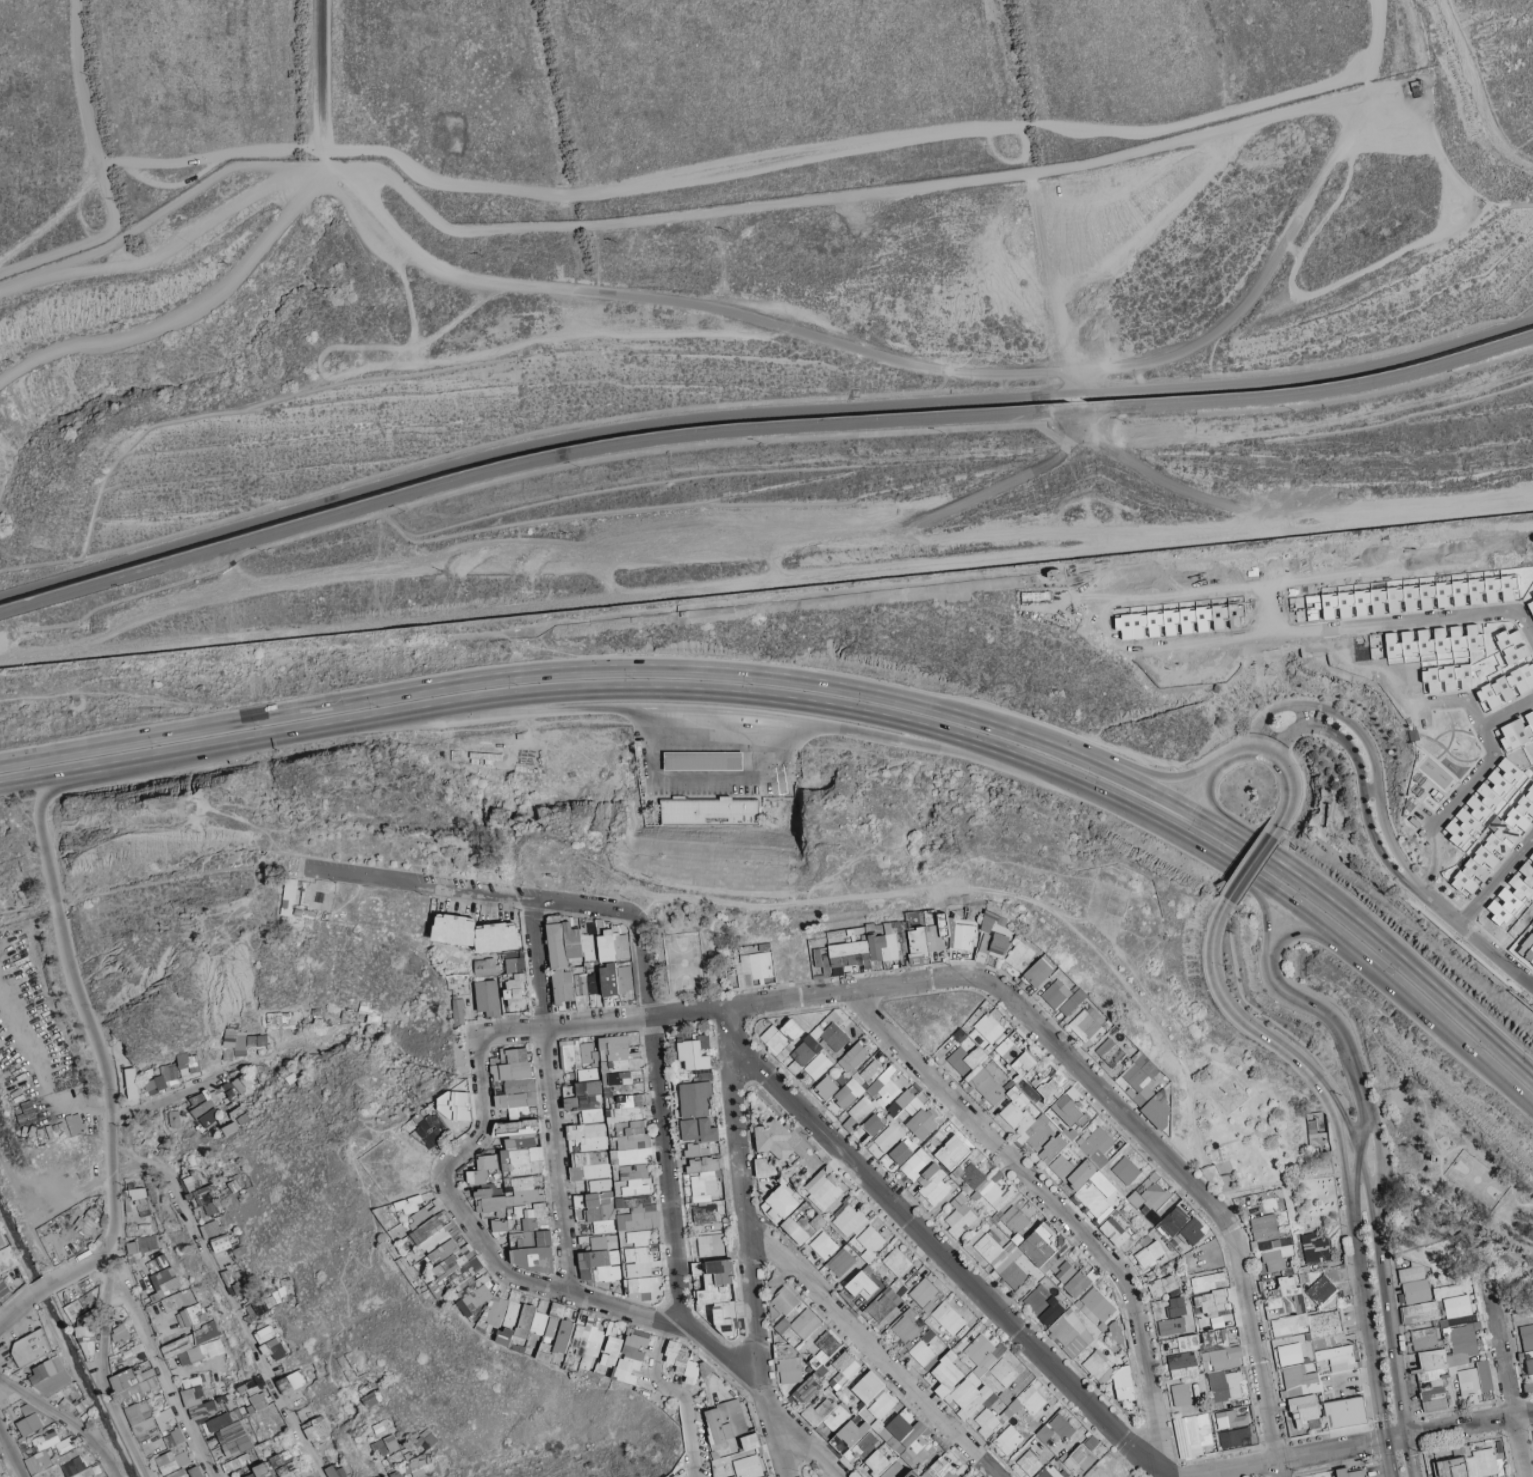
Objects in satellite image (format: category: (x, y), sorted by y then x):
road: (324, 74)
road: (1476, 90)
road: (877, 142)
road: (126, 163)
road: (863, 194)
road: (147, 222)
road: (87, 239)
road: (166, 257)
road: (434, 266)
road: (1052, 274)
road: (1262, 283)
road: (196, 309)
road: (824, 339)
road: (1077, 391)
road: (759, 414)
road: (758, 429)
road: (1161, 480)
road: (994, 489)
road: (766, 583)
building: (995, 584)
building: (1423, 597)
building: (1530, 606)
road: (1445, 611)
building: (1164, 622)
road: (1237, 633)
building: (1435, 642)
building: (1511, 645)
building: (1448, 678)
building: (1506, 687)
road: (819, 688)
road: (708, 699)
building: (1482, 702)
road: (472, 703)
road: (1475, 707)
road: (1271, 710)
road: (1508, 712)
road: (1302, 715)
road: (706, 724)
building: (1517, 732)
road: (285, 734)
building: (702, 759)
gas station: (702, 759)
road: (131, 760)
road: (43, 776)
road: (700, 780)
road: (1050, 781)
road: (54, 786)
road: (1376, 786)
building: (710, 812)
building: (1492, 823)
building: (1532, 855)
road: (47, 862)
building: (1523, 883)
building: (293, 898)
building: (1504, 908)
building: (1518, 914)
building: (455, 929)
building: (498, 937)
building: (993, 937)
building: (899, 940)
building: (579, 943)
building: (556, 945)
building: (613, 946)
building: (1528, 950)
building: (1020, 955)
building: (819, 962)
building: (510, 965)
building: (485, 967)
building: (754, 968)
building: (1039, 973)
building: (616, 979)
building: (587, 984)
building: (563, 986)
building: (516, 991)
building: (488, 998)
building: (1073, 1001)
building: (1081, 1008)
building: (459, 1012)
building: (1087, 1024)
building: (791, 1029)
building: (236, 1041)
building: (256, 1043)
building: (776, 1043)
building: (817, 1049)
building: (1109, 1050)
building: (960, 1052)
building: (227, 1053)
building: (695, 1054)
building: (852, 1057)
building: (615, 1060)
building: (188, 1064)
building: (582, 1064)
building: (516, 1072)
building: (162, 1079)
building: (132, 1083)
building: (858, 1083)
building: (986, 1085)
building: (826, 1088)
building: (1148, 1089)
building: (569, 1090)
building: (228, 1093)
building: (696, 1099)
building: (512, 1102)
building: (894, 1104)
building: (454, 1105)
building: (585, 1107)
building: (203, 1110)
building: (625, 1112)
building: (174, 1119)
building: (236, 1120)
building: (75, 1124)
building: (874, 1124)
park: (1251, 1125)
building: (429, 1130)
building: (699, 1130)
building: (1063, 1134)
building: (593, 1136)
building: (888, 1136)
building: (780, 1140)
building: (632, 1146)
building: (521, 1147)
building: (696, 1150)
building: (952, 1152)
building: (901, 1153)
building: (589, 1165)
building: (763, 1167)
building: (482, 1169)
building: (703, 1178)
building: (926, 1178)
building: (632, 1180)
building: (192, 1183)
building: (987, 1187)
building: (823, 1189)
building: (505, 1198)
building: (1148, 1198)
building: (140, 1201)
building: (205, 1201)
building: (408, 1204)
building: (779, 1204)
building: (638, 1208)
building: (94, 1214)
building: (960, 1215)
building: (705, 1216)
building: (848, 1220)
building: (811, 1223)
building: (530, 1224)
building: (500, 1225)
building: (1181, 1228)
building: (211, 1229)
building: (795, 1230)
building: (1115, 1231)
building: (638, 1237)
building: (1, 1241)
building: (870, 1242)
building: (1269, 1242)
building: (221, 1243)
building: (599, 1243)
building: (443, 1245)
building: (710, 1245)
building: (141, 1246)
building: (821, 1248)
building: (1314, 1248)
building: (240, 1252)
building: (1150, 1254)
building: (532, 1258)
building: (7, 1259)
building: (640, 1262)
building: (157, 1263)
building: (836, 1263)
building: (600, 1266)
building: (1411, 1273)
building: (1041, 1276)
building: (233, 1280)
building: (714, 1280)
building: (165, 1282)
building: (776, 1282)
building: (891, 1285)
building: (1163, 1286)
building: (862, 1287)
building: (642, 1288)
building: (1414, 1291)
building: (1210, 1293)
building: (924, 1294)
building: (1299, 1297)
building: (269, 1300)
building: (785, 1301)
building: (494, 1305)
building: (1457, 1306)
building: (1175, 1307)
building: (796, 1311)
building: (1420, 1312)
building: (190, 1315)
building: (948, 1318)
building: (516, 1321)
building: (538, 1323)
building: (724, 1323)
building: (1310, 1324)
building: (798, 1326)
building: (906, 1326)
building: (1171, 1326)
building: (85, 1327)
building: (612, 1329)
building: (120, 1333)
building: (555, 1333)
building: (586, 1335)
building: (1424, 1339)
building: (270, 1344)
building: (194, 1346)
building: (31, 1347)
building: (924, 1348)
building: (612, 1351)
building: (1528, 1352)
building: (1290, 1354)
building: (632, 1356)
building: (1338, 1357)
building: (682, 1361)
building: (991, 1361)
building: (1218, 1361)
building: (787, 1363)
building: (824, 1364)
building: (1183, 1365)
building: (1098, 1366)
building: (1452, 1368)
building: (132, 1375)
building: (51, 1377)
building: (293, 1381)
building: (1299, 1381)
building: (1124, 1384)
building: (252, 1385)
building: (1181, 1395)
building: (192, 1396)
building: (372, 1398)
building: (987, 1399)
building: (259, 1401)
building: (74, 1409)
building: (203, 1410)
building: (1304, 1410)
building: (1345, 1412)
building: (826, 1413)
building: (140, 1418)
building: (165, 1419)
building: (1230, 1419)
building: (219, 1421)
building: (30, 1425)
building: (729, 1429)
building: (317, 1430)
building: (1192, 1433)
building: (891, 1436)
building: (174, 1438)
building: (1235, 1438)
building: (233, 1439)
building: (45, 1440)
building: (426, 1440)
building: (1008, 1440)
building: (64, 1444)
building: (386, 1445)
building: (1084, 1454)
building: (172, 1461)
building: (76, 1463)
building: (1029, 1463)
building: (39, 1464)
building: (233, 1464)
building: (875, 1464)
building: (1466, 1465)
building: (276, 1466)
building: (420, 1466)
building: (748, 1467)
building: (1053, 1470)
building: (334, 1471)
building: (196, 1472)
building: (1350, 1473)
building: (178, 1474)
building: (397, 1474)
building: (251, 1475)
building: (675, 1475)
building: (108, 1476)
building: (382, 1476)
building: (734, 1476)

